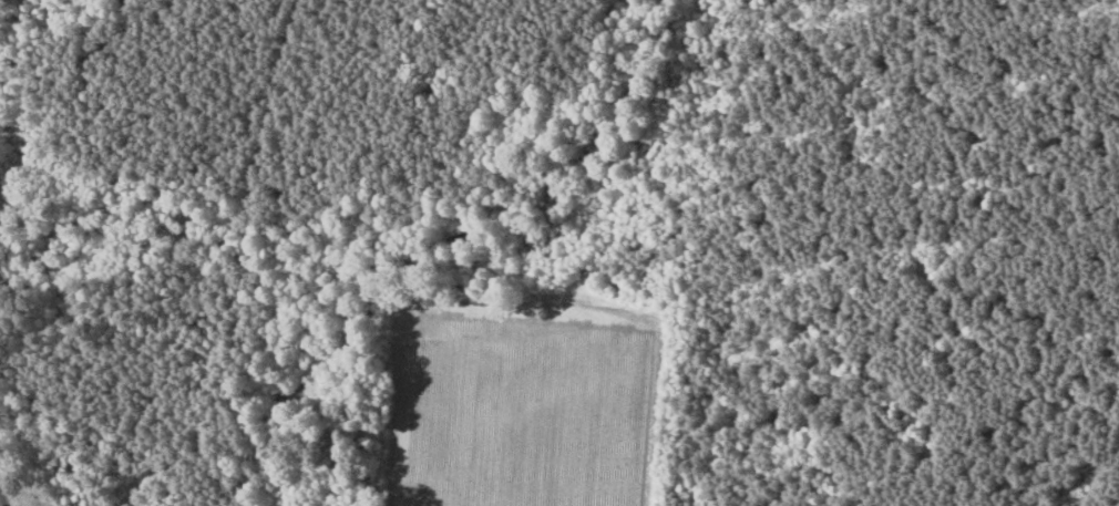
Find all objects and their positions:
road: (1, 497)
road: (2, 497)

